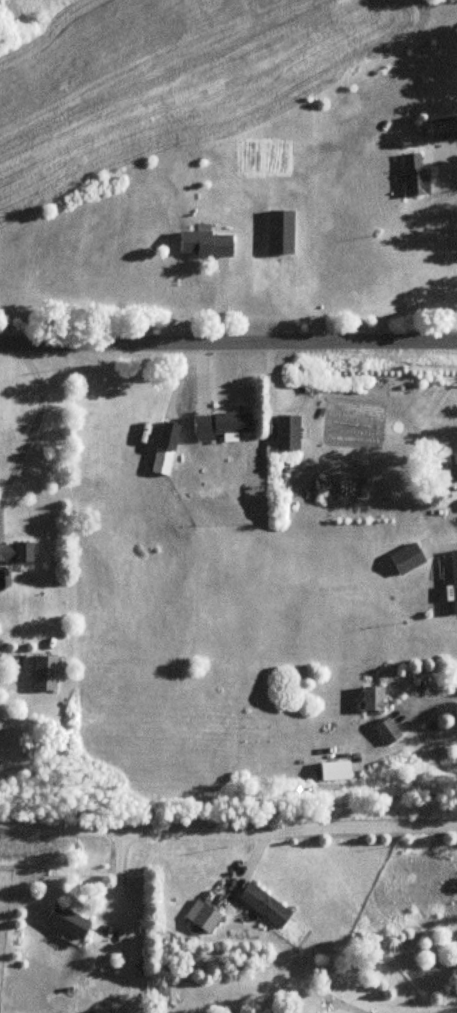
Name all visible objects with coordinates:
building: (443, 128)
building: (416, 175)
building: (281, 232)
building: (206, 244)
road: (228, 343)
road: (35, 422)
building: (221, 425)
building: (288, 433)
building: (166, 449)
building: (451, 469)
building: (17, 553)
building: (408, 559)
building: (455, 578)
building: (45, 673)
road: (432, 696)
building: (373, 698)
building: (389, 731)
road: (228, 829)
road: (112, 883)
building: (266, 906)
building: (208, 919)
building: (69, 923)
road: (348, 1005)

